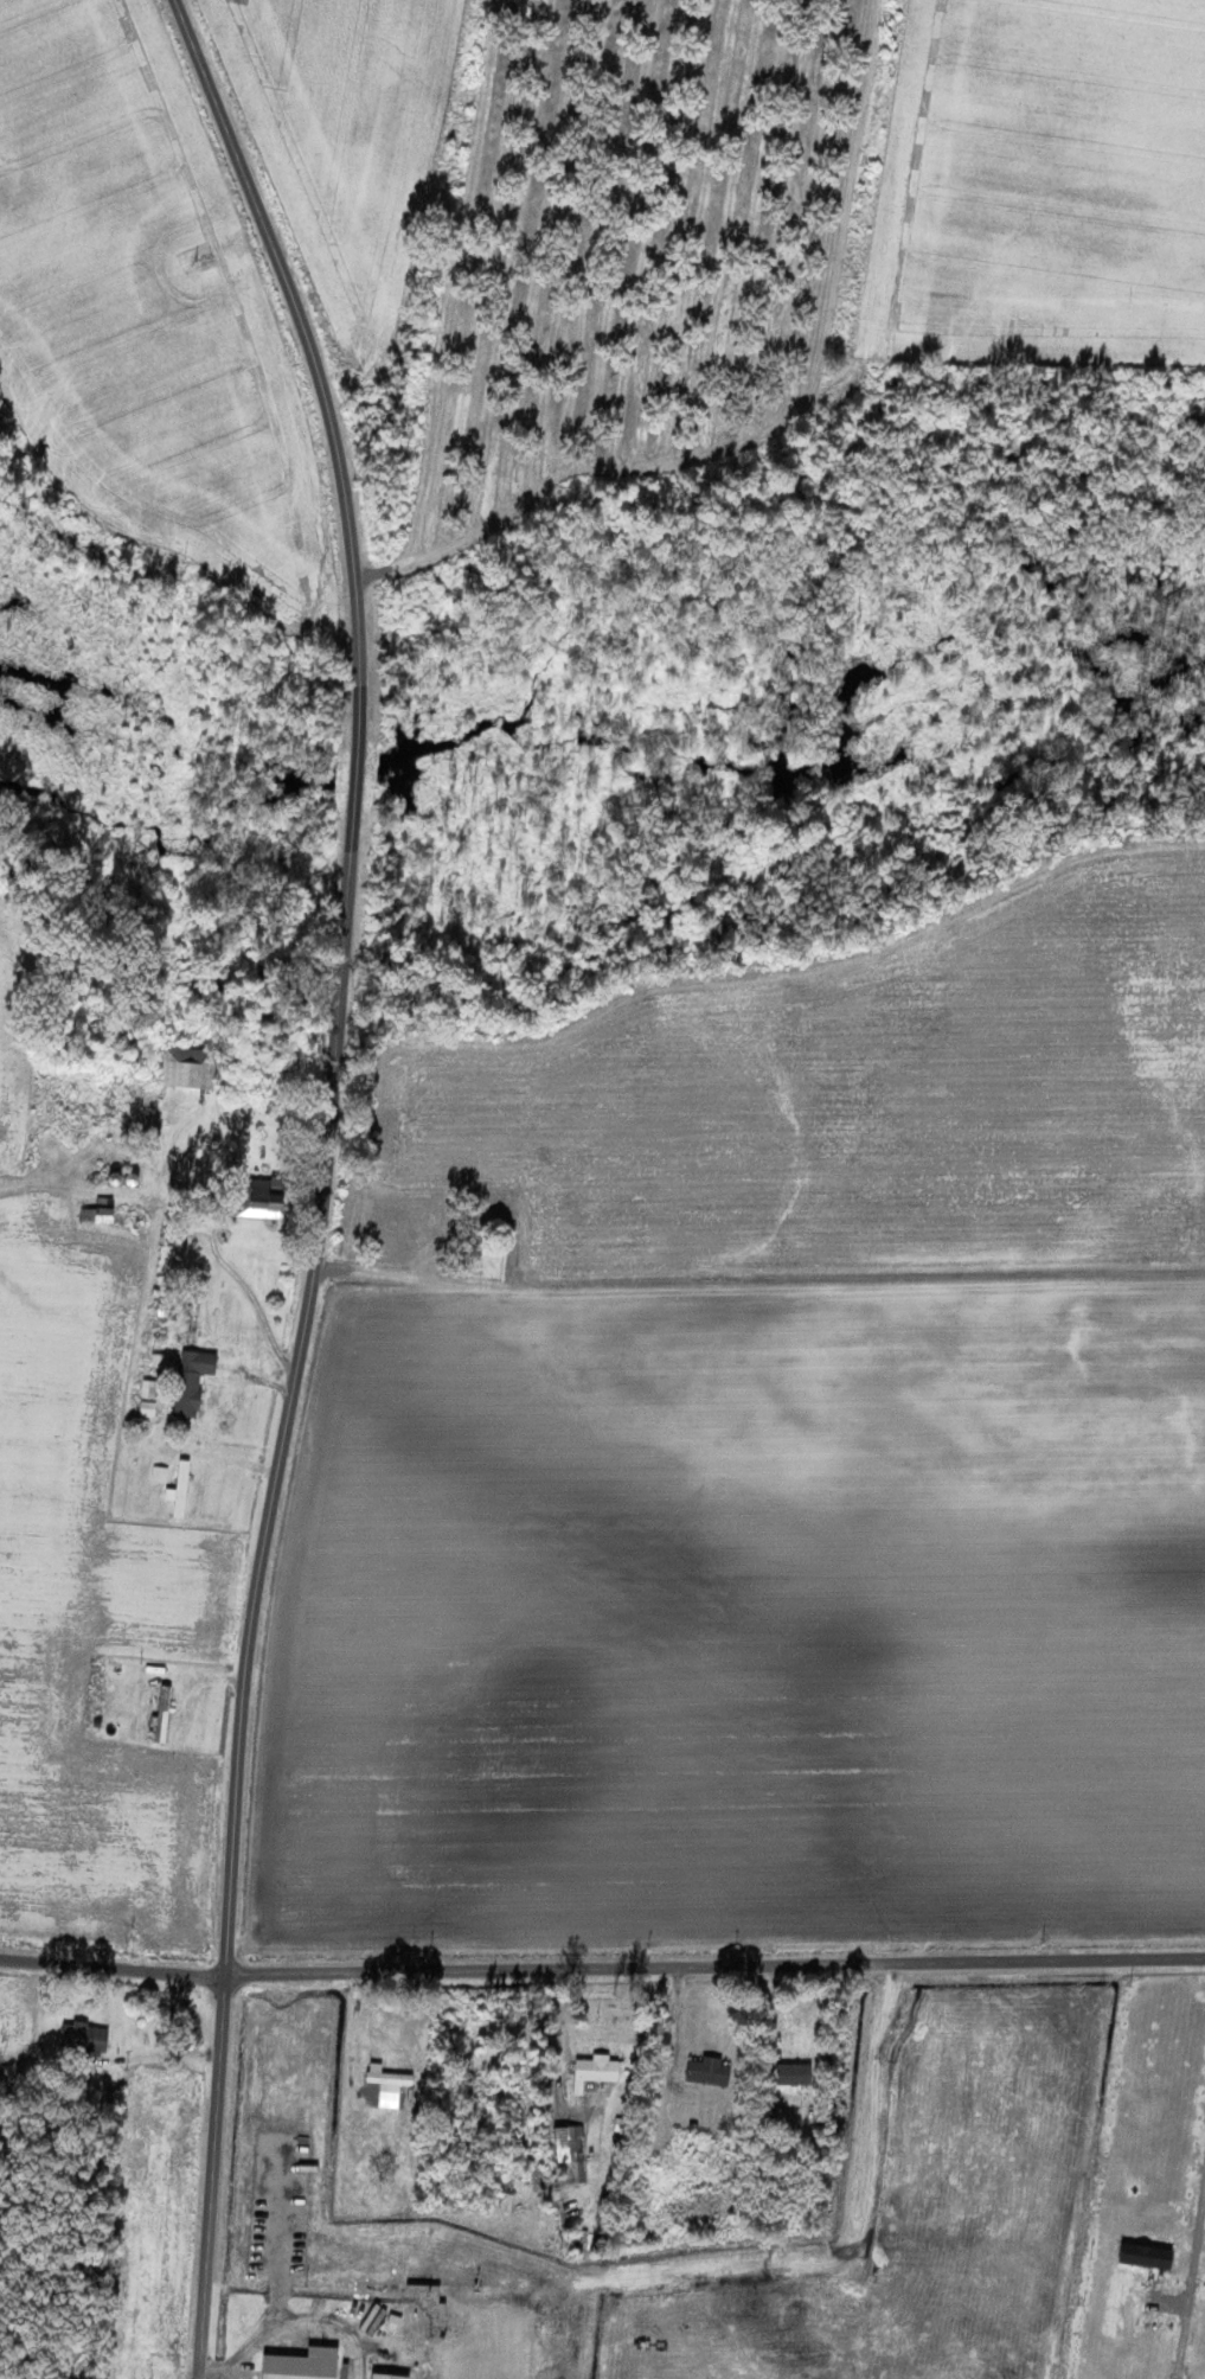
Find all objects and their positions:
road: (782, 423)
building: (188, 1069)
road: (322, 1178)
building: (262, 1196)
building: (100, 1210)
building: (193, 1380)
building: (148, 1388)
building: (180, 1489)
road: (110, 1965)
road: (713, 1965)
building: (83, 2038)
building: (709, 2071)
building: (595, 2072)
building: (390, 2083)
building: (569, 2155)
building: (1148, 2256)
building: (303, 2365)
building: (389, 2377)

